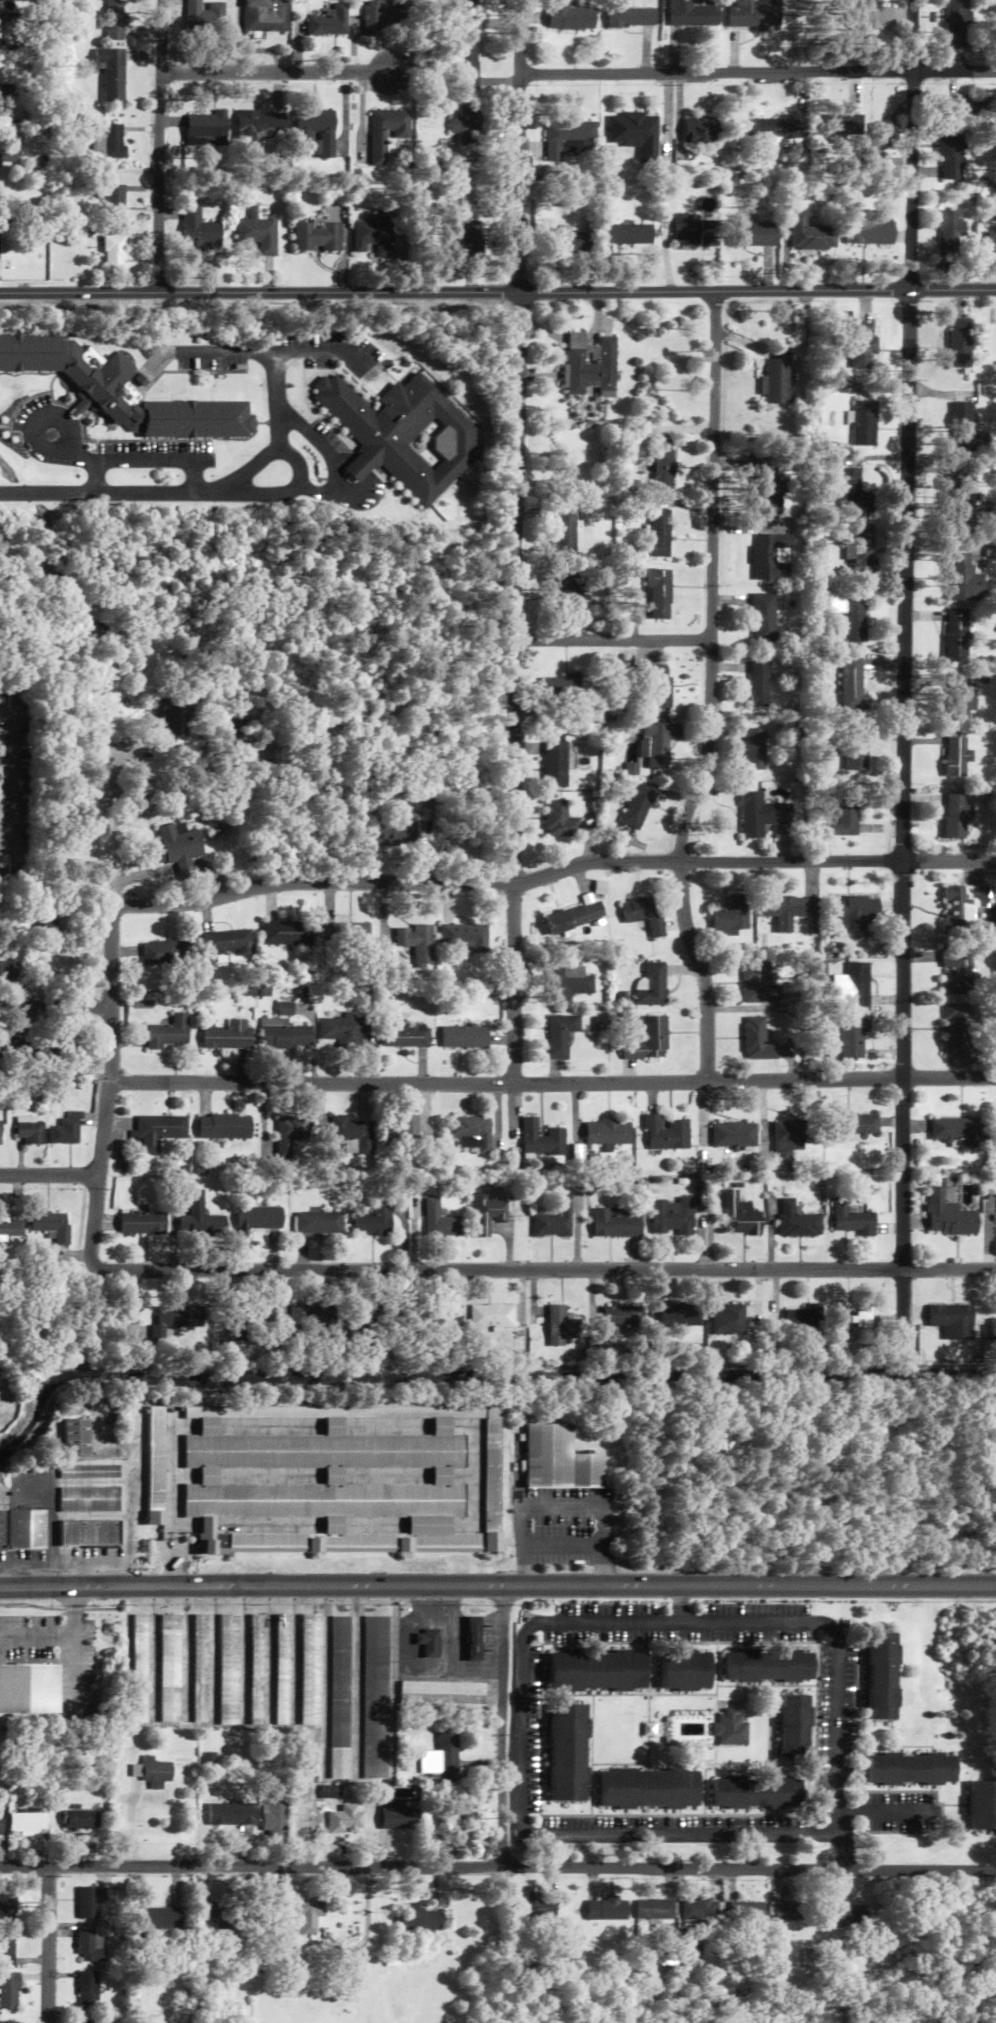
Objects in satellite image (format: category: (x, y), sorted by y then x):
building: (691, 13)
building: (752, 14)
building: (872, 14)
building: (266, 15)
building: (468, 15)
building: (204, 16)
building: (382, 16)
building: (568, 16)
building: (630, 18)
building: (114, 20)
building: (330, 21)
building: (954, 24)
road: (273, 66)
building: (468, 67)
road: (758, 71)
building: (112, 73)
building: (960, 105)
building: (467, 121)
building: (262, 124)
building: (839, 124)
building: (208, 128)
building: (700, 130)
building: (318, 132)
building: (388, 132)
building: (776, 132)
building: (635, 133)
building: (882, 136)
building: (568, 137)
building: (108, 141)
road: (156, 146)
building: (950, 153)
building: (470, 184)
building: (114, 201)
building: (685, 229)
building: (261, 231)
building: (201, 232)
building: (807, 232)
building: (708, 233)
building: (869, 233)
building: (950, 234)
building: (630, 235)
building: (750, 235)
building: (376, 236)
building: (319, 237)
building: (468, 239)
building: (573, 241)
building: (991, 243)
building: (115, 254)
road: (497, 293)
building: (961, 343)
building: (860, 346)
road: (333, 348)
road: (252, 352)
building: (588, 365)
building: (777, 381)
building: (118, 391)
building: (864, 423)
building: (962, 427)
building: (403, 436)
road: (63, 450)
road: (331, 456)
road: (141, 461)
building: (662, 464)
road: (299, 465)
road: (95, 478)
building: (766, 487)
road: (110, 494)
building: (856, 494)
building: (962, 508)
building: (564, 529)
building: (658, 535)
road: (516, 540)
building: (859, 549)
building: (770, 557)
building: (964, 578)
building: (571, 587)
building: (659, 594)
building: (851, 614)
building: (765, 620)
building: (957, 635)
road: (614, 640)
road: (905, 670)
building: (759, 684)
building: (853, 685)
building: (652, 686)
road: (710, 690)
building: (560, 691)
building: (959, 697)
building: (171, 717)
building: (658, 743)
building: (755, 749)
building: (855, 756)
building: (957, 756)
building: (556, 764)
road: (17, 784)
building: (638, 805)
building: (762, 814)
building: (844, 815)
building: (956, 816)
building: (560, 820)
road: (115, 823)
building: (396, 833)
building: (174, 846)
road: (183, 865)
road: (554, 872)
road: (214, 873)
road: (145, 874)
building: (962, 905)
building: (790, 910)
building: (853, 912)
building: (645, 914)
building: (575, 917)
building: (732, 918)
building: (49, 919)
building: (286, 933)
building: (345, 933)
building: (465, 938)
building: (416, 942)
building: (226, 944)
building: (164, 953)
building: (8, 968)
building: (759, 984)
building: (855, 984)
building: (569, 985)
building: (651, 986)
road: (55, 1005)
building: (283, 1009)
building: (955, 1029)
building: (340, 1030)
building: (167, 1032)
building: (283, 1035)
building: (402, 1035)
building: (226, 1036)
building: (463, 1036)
building: (845, 1037)
building: (558, 1038)
building: (649, 1040)
building: (757, 1040)
road: (109, 1041)
building: (17, 1046)
road: (552, 1081)
building: (857, 1124)
building: (222, 1126)
building: (157, 1130)
building: (62, 1131)
building: (399, 1131)
building: (955, 1131)
building: (28, 1132)
building: (607, 1132)
building: (993, 1132)
building: (469, 1133)
building: (665, 1133)
building: (351, 1134)
building: (286, 1135)
building: (733, 1135)
building: (539, 1138)
building: (787, 1140)
road: (48, 1175)
building: (486, 1214)
building: (739, 1216)
building: (947, 1216)
building: (670, 1217)
building: (255, 1218)
building: (198, 1219)
building: (371, 1219)
building: (850, 1219)
building: (553, 1220)
building: (438, 1221)
building: (796, 1221)
building: (316, 1222)
building: (140, 1223)
building: (614, 1224)
building: (50, 1225)
building: (9, 1228)
road: (498, 1269)
road: (131, 1302)
building: (255, 1314)
building: (311, 1316)
building: (490, 1316)
building: (618, 1316)
building: (677, 1316)
building: (374, 1317)
building: (441, 1317)
building: (403, 1319)
building: (173, 1320)
building: (727, 1320)
building: (800, 1320)
building: (846, 1320)
building: (950, 1321)
building: (559, 1326)
building: (992, 1329)
river: (477, 1376)
road: (272, 1425)
building: (74, 1437)
building: (322, 1450)
building: (556, 1459)
building: (154, 1464)
building: (86, 1471)
road: (321, 1475)
building: (490, 1475)
building: (86, 1499)
building: (321, 1499)
road: (562, 1505)
road: (370, 1524)
building: (24, 1528)
building: (1, 1529)
building: (87, 1533)
road: (166, 1534)
road: (174, 1534)
road: (522, 1545)
road: (602, 1545)
road: (170, 1565)
road: (44, 1568)
road: (88, 1577)
road: (497, 1585)
road: (677, 1604)
road: (677, 1623)
building: (471, 1639)
building: (427, 1642)
road: (152, 1654)
road: (186, 1654)
road: (211, 1654)
road: (243, 1655)
road: (268, 1655)
road: (293, 1655)
building: (766, 1666)
building: (139, 1668)
building: (169, 1668)
building: (200, 1668)
building: (256, 1668)
building: (228, 1669)
building: (281, 1669)
building: (309, 1669)
building: (595, 1671)
building: (682, 1671)
building: (879, 1678)
road: (324, 1682)
road: (355, 1682)
road: (391, 1682)
building: (438, 1689)
building: (339, 1697)
building: (374, 1697)
road: (837, 1711)
road: (504, 1727)
building: (730, 1728)
building: (792, 1728)
building: (566, 1754)
building: (209, 1761)
building: (441, 1761)
building: (908, 1769)
building: (152, 1772)
building: (648, 1789)
building: (756, 1793)
building: (981, 1806)
building: (341, 1813)
road: (885, 1813)
building: (1, 1814)
building: (232, 1814)
building: (397, 1816)
building: (274, 1819)
building: (81, 1820)
building: (29, 1823)
building: (456, 1833)
road: (572, 1835)
road: (839, 1842)
road: (498, 1868)
road: (327, 1884)
building: (534, 1898)
building: (8, 1903)
building: (89, 1903)
road: (321, 1908)
building: (606, 1909)
building: (654, 1909)
building: (699, 1909)
building: (744, 1911)
building: (787, 1911)
building: (221, 1915)
building: (849, 1916)
building: (308, 1917)
building: (160, 1919)
building: (419, 1921)
road: (367, 1938)
road: (50, 1945)
building: (7, 1947)
building: (90, 1947)
building: (88, 1990)
building: (9, 1991)
building: (89, 2021)
building: (9, 2022)

